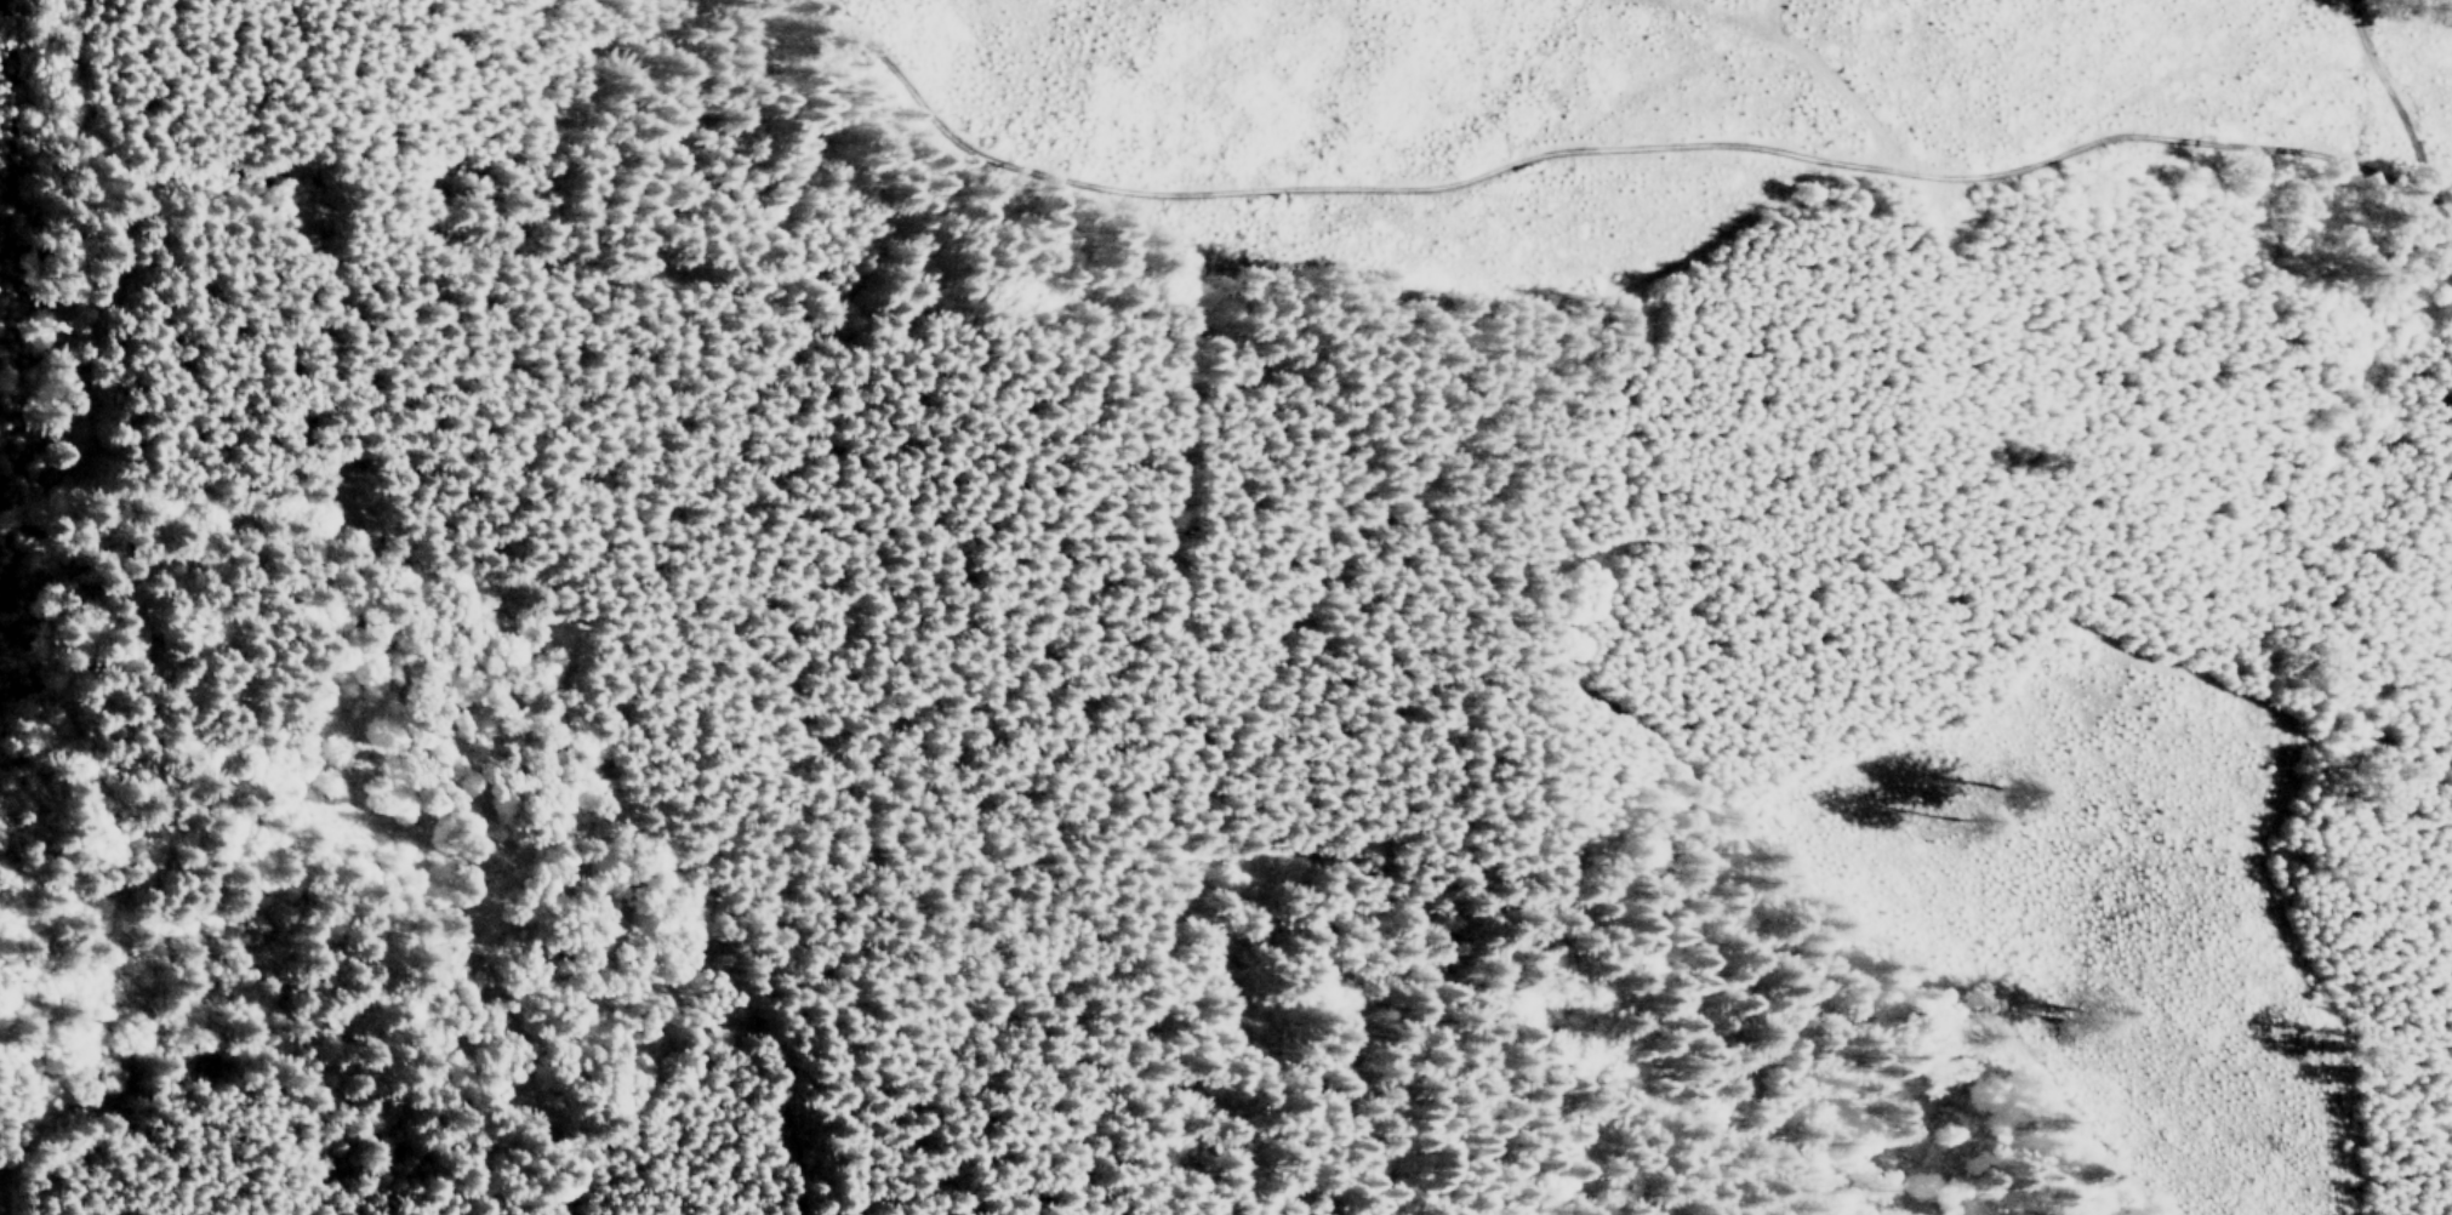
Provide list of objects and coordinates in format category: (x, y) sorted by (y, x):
crop: (1593, 116)
road: (1176, 601)
road: (1524, 637)

